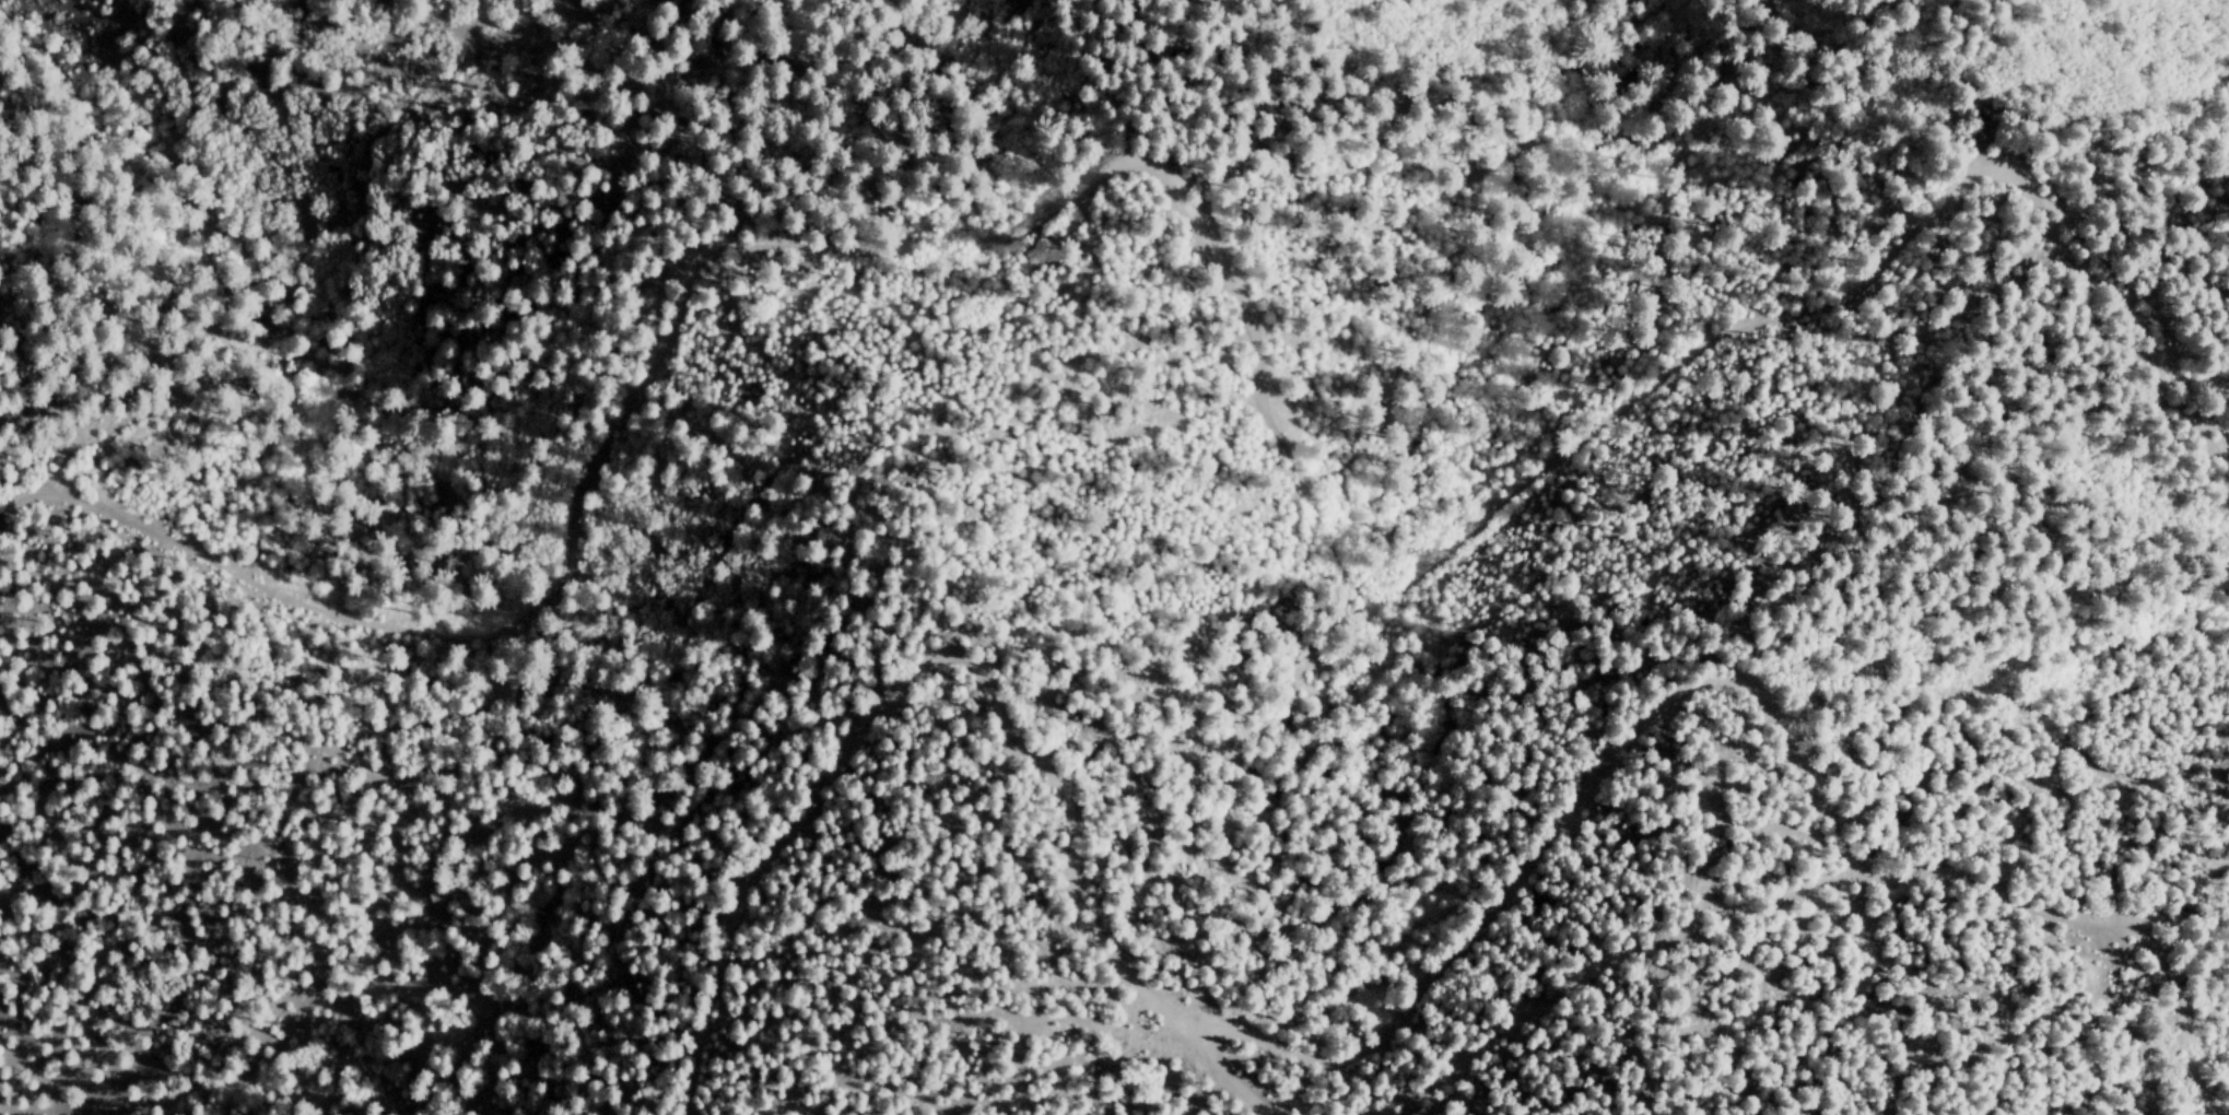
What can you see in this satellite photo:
road: (1992, 670)
road: (1360, 1065)
road: (1253, 1112)

